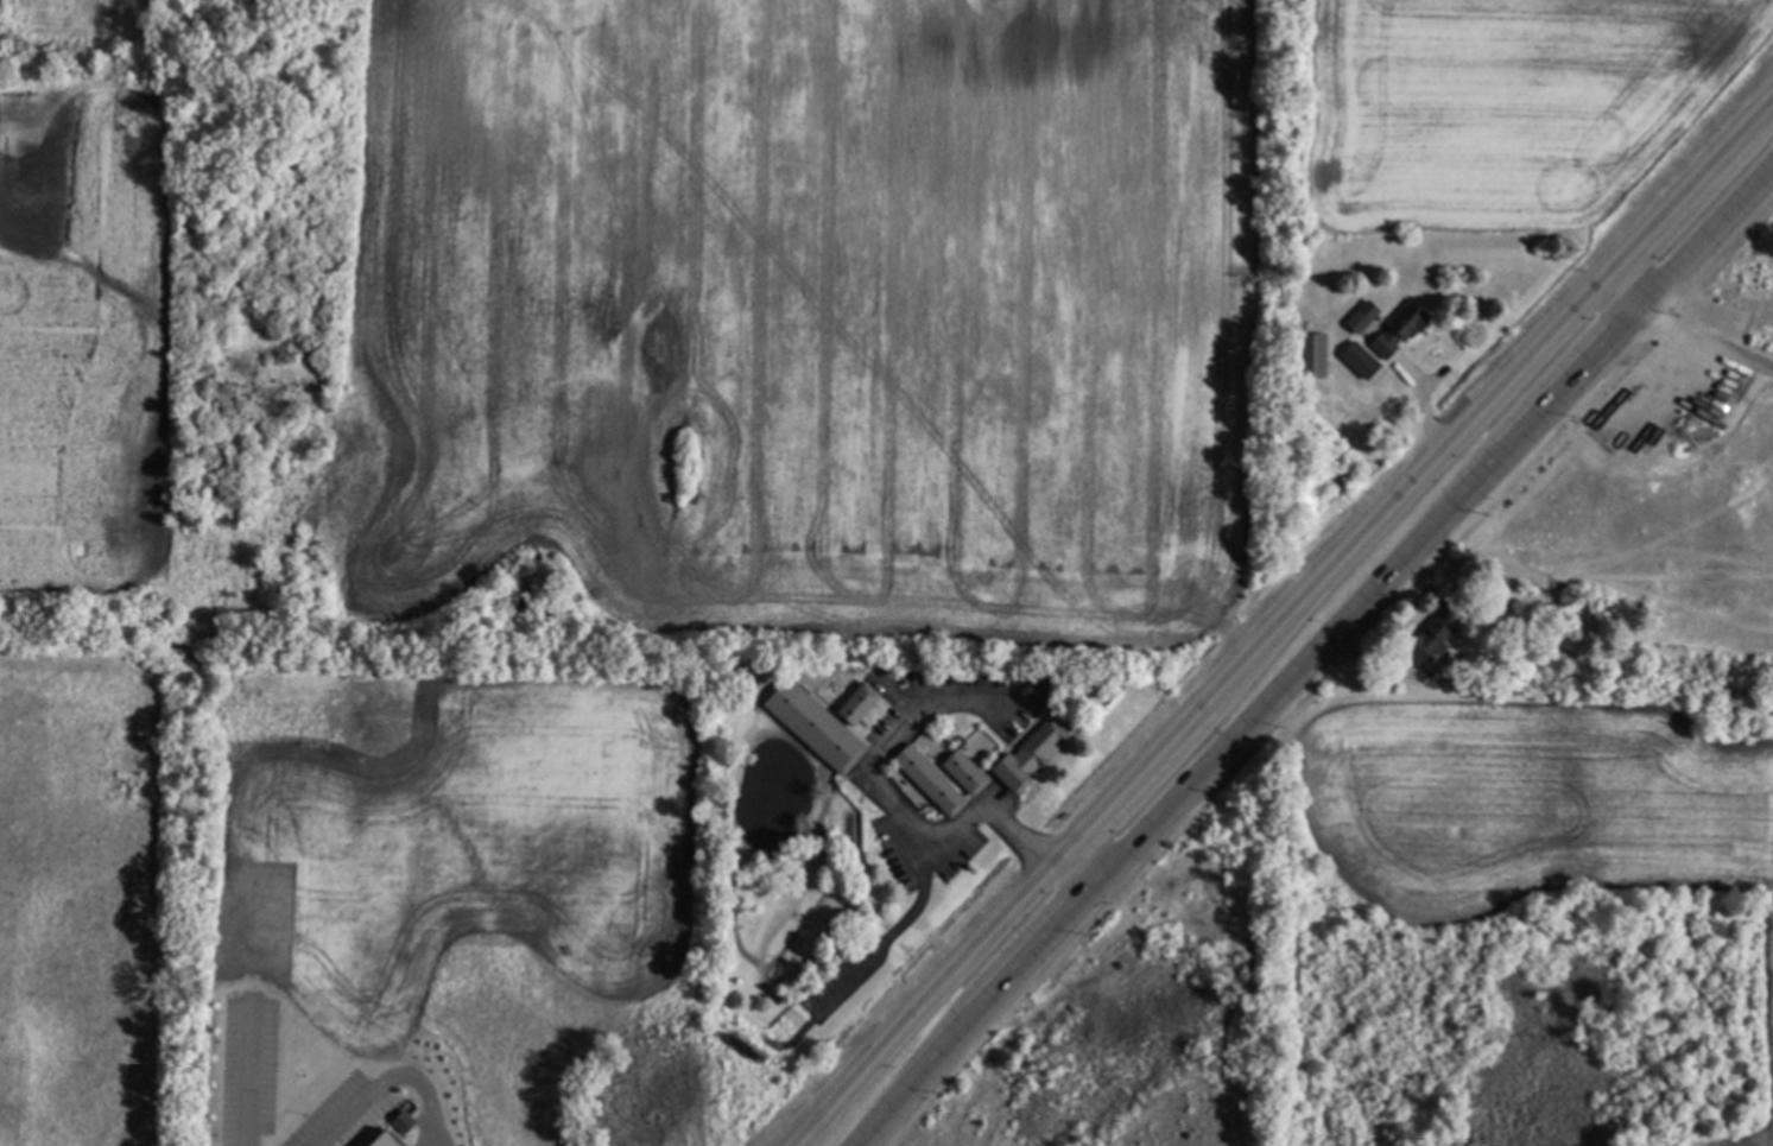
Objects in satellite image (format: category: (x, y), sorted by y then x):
road: (1705, 232)
road: (1623, 290)
crop: (917, 296)
road: (1581, 306)
road: (1704, 310)
building: (1379, 316)
building: (1359, 318)
building: (1402, 328)
road: (1699, 344)
building: (1312, 354)
building: (1362, 363)
road: (1530, 417)
crop: (86, 566)
building: (1433, 637)
building: (1568, 667)
building: (859, 705)
building: (815, 723)
building: (1034, 753)
building: (965, 770)
building: (931, 778)
crop: (1539, 810)
road: (897, 819)
road: (1089, 825)
road: (1134, 837)
road: (1082, 862)
road: (882, 946)
road: (243, 1076)
road: (422, 1090)
road: (343, 1117)
building: (401, 1122)
building: (384, 1140)

